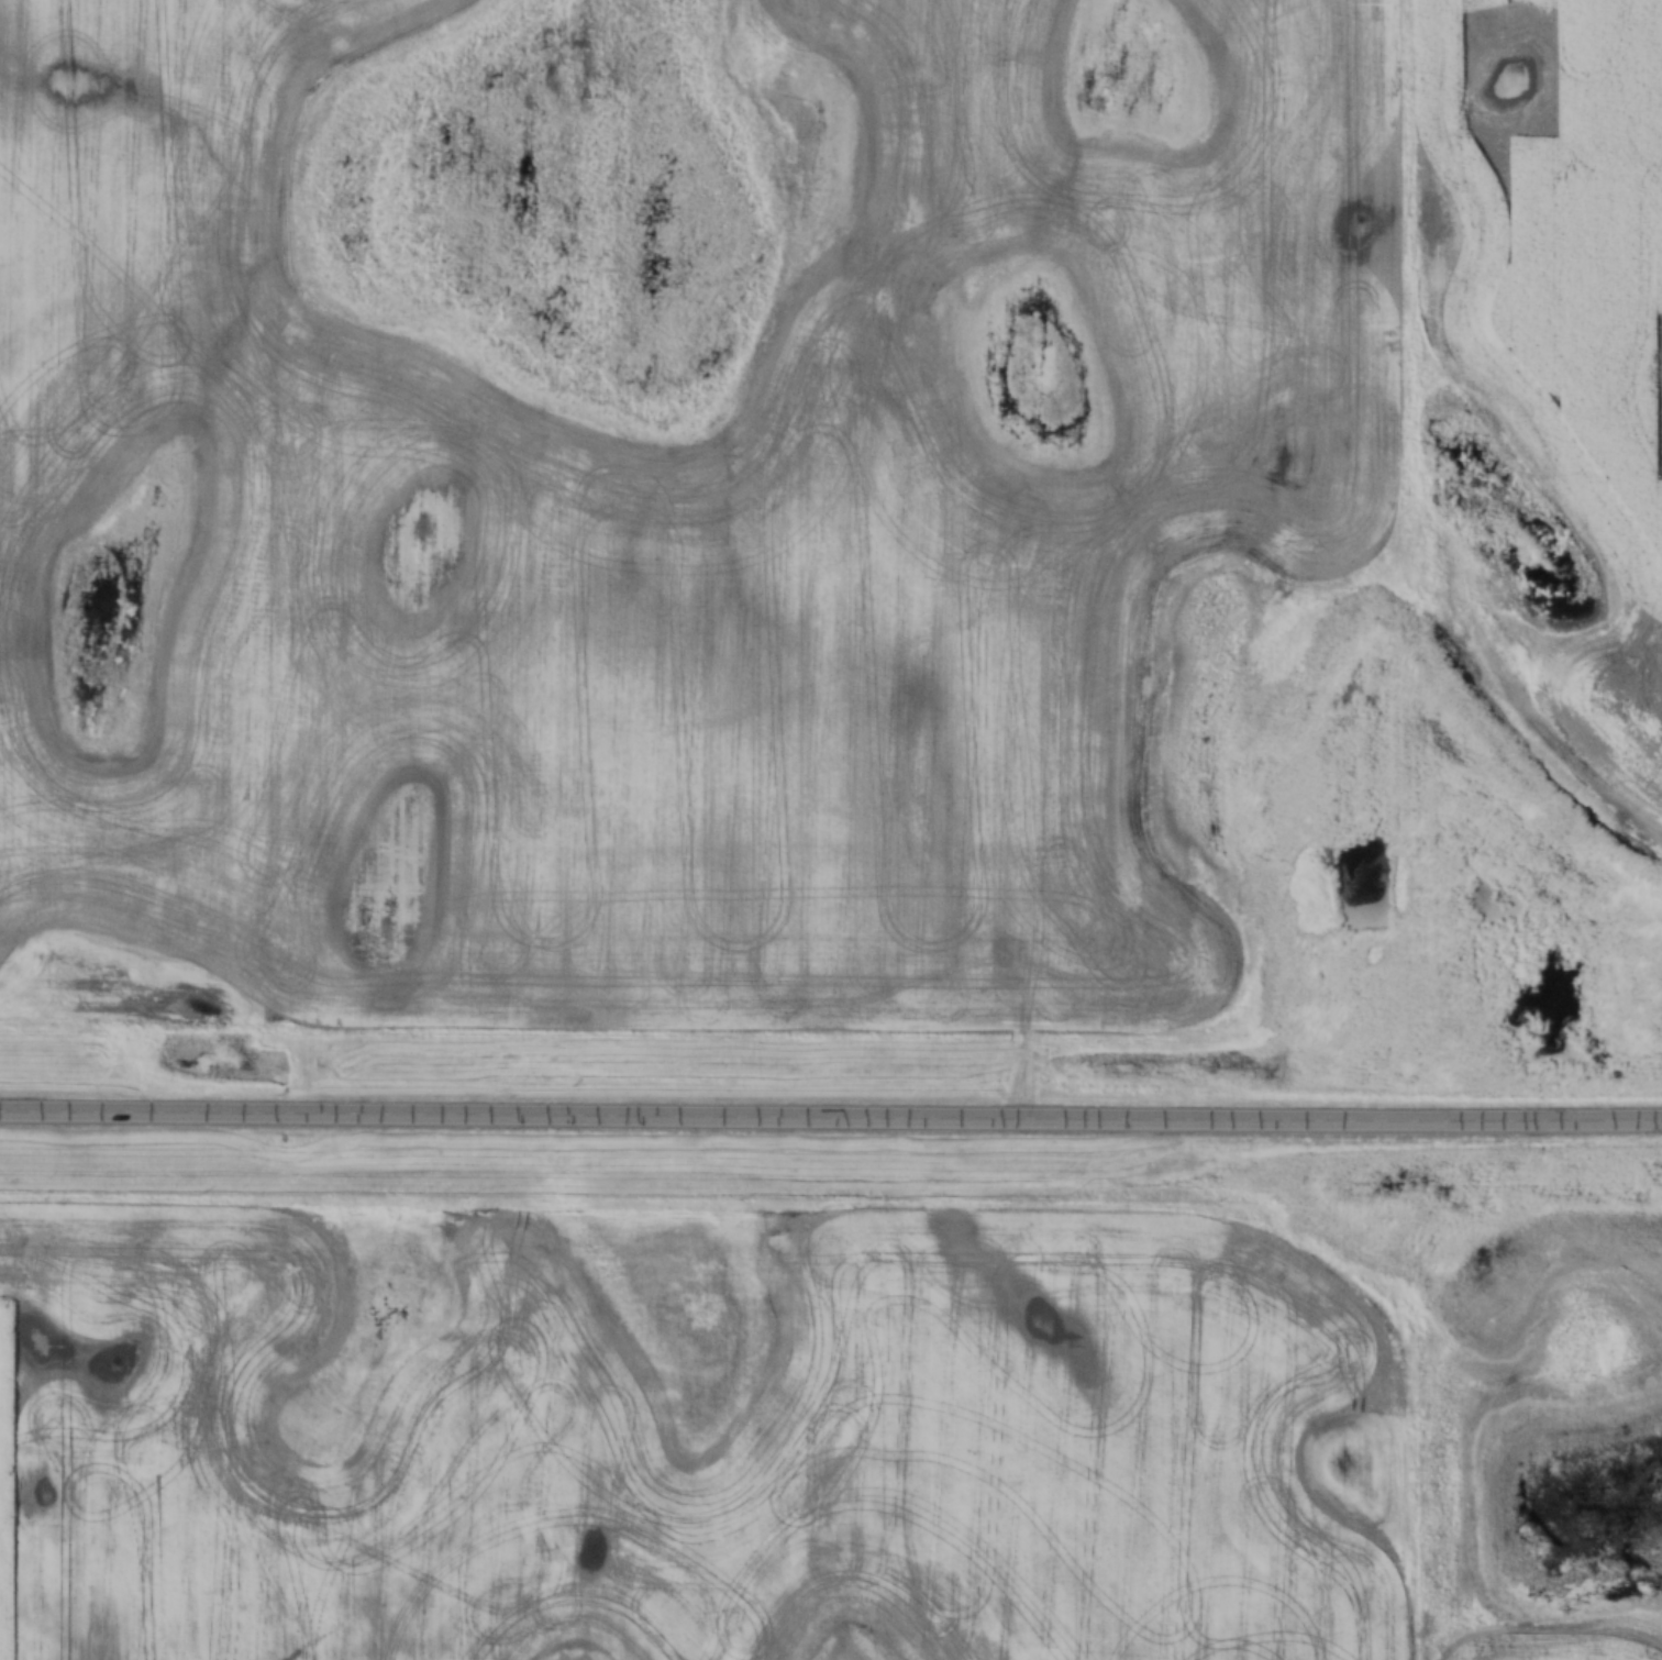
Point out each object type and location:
road: (831, 1125)

